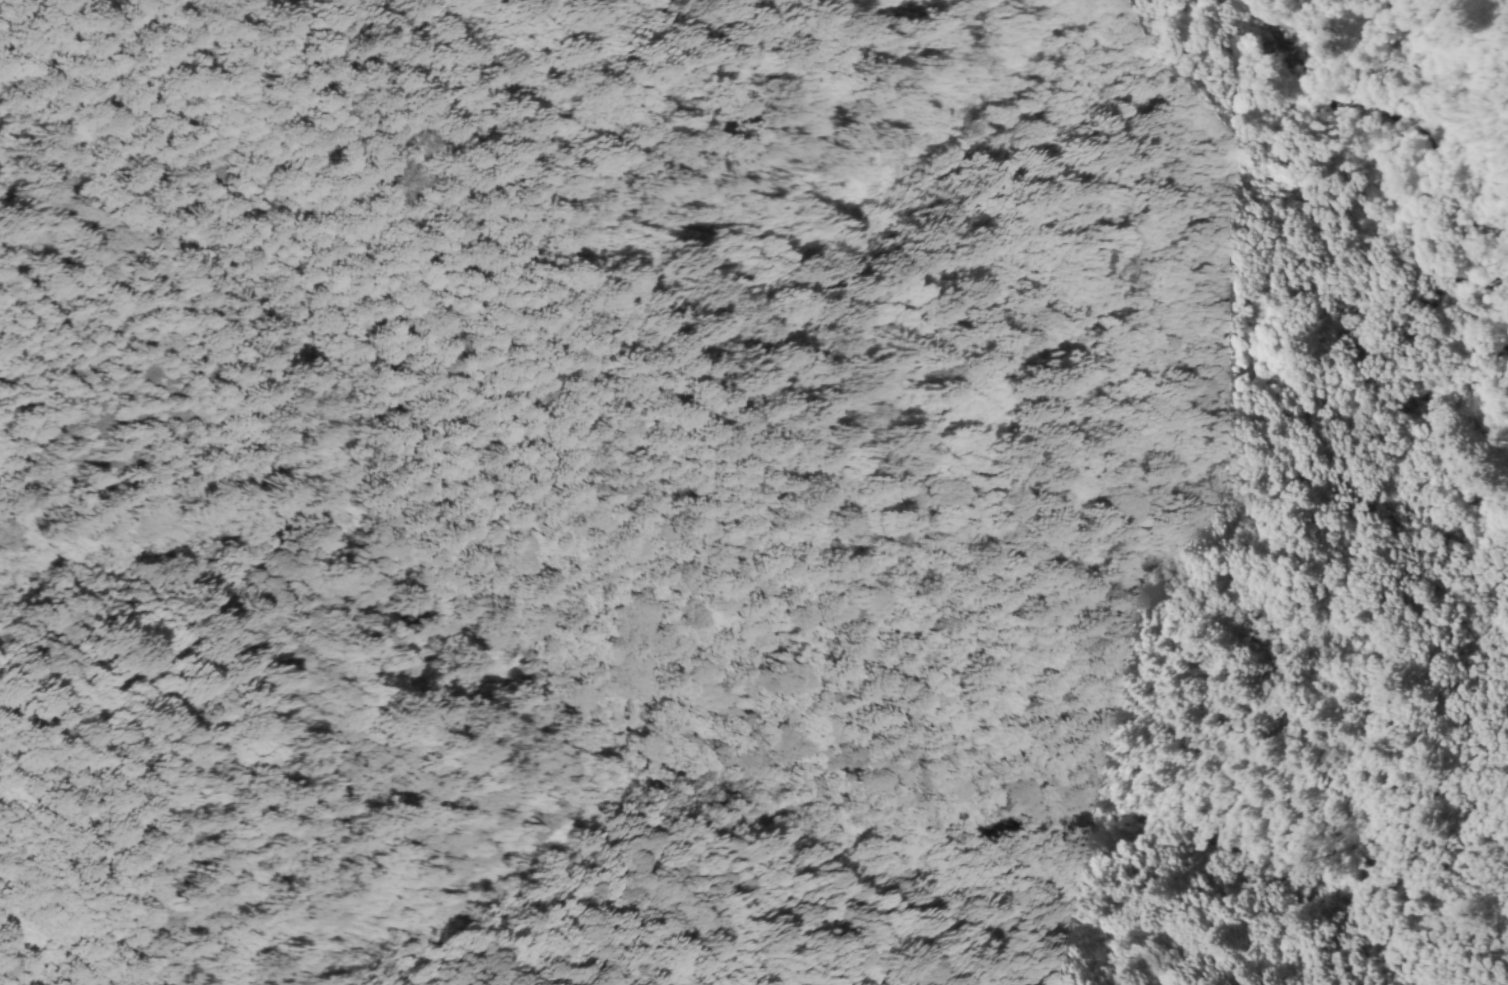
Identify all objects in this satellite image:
road: (53, 899)

